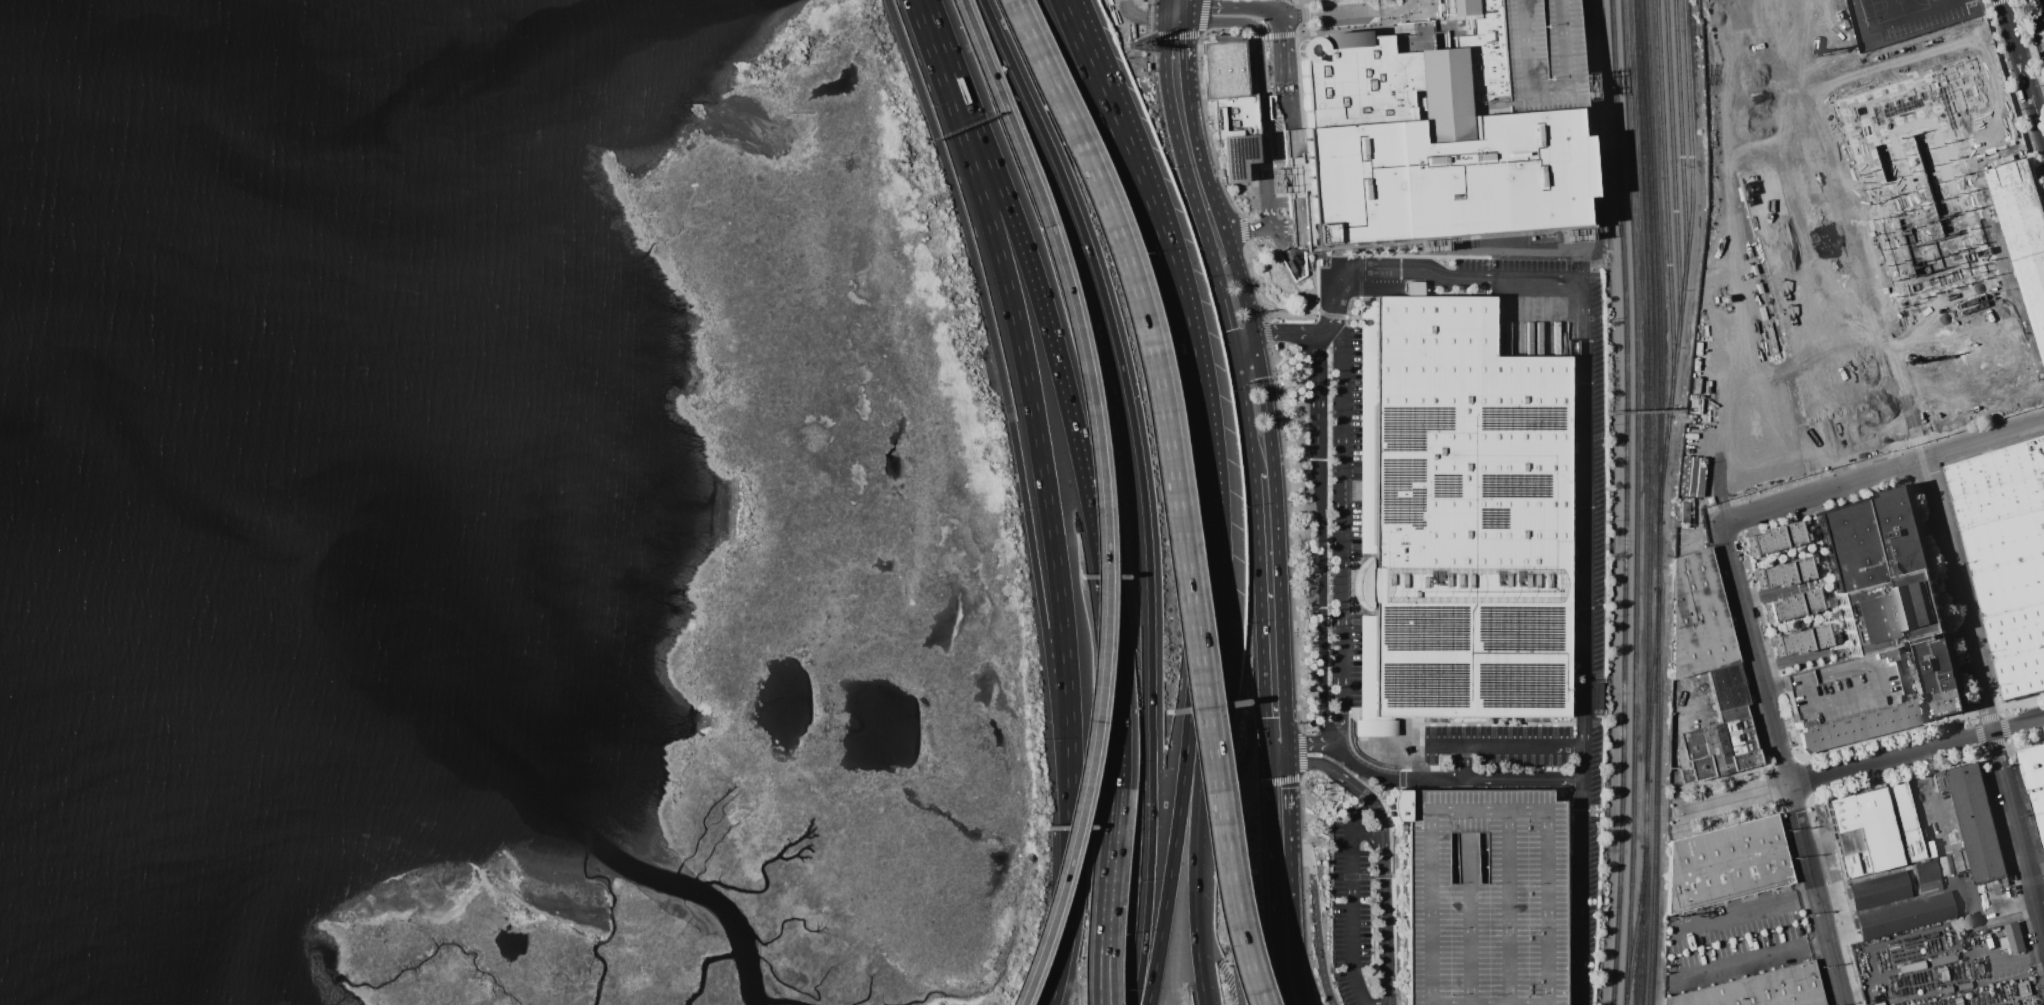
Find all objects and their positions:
building: (1734, 1)
road: (1174, 6)
road: (1228, 6)
road: (2042, 9)
road: (1349, 11)
road: (1143, 13)
traffic signals: (1174, 13)
parking lot: (2035, 13)
road: (1202, 17)
road: (1175, 35)
building: (1793, 36)
road: (1184, 39)
road: (1259, 43)
building: (1537, 54)
parking lot: (1537, 54)
road: (2023, 65)
road: (1287, 72)
building: (1230, 103)
road: (1207, 129)
building: (1427, 141)
railway: (1692, 145)
road: (1279, 165)
road: (1265, 166)
railway: (1675, 172)
road: (1186, 176)
building: (1921, 181)
road: (1247, 184)
road: (1266, 194)
railway: (1668, 201)
road: (1213, 203)
building: (2019, 205)
building: (1785, 224)
road: (1245, 226)
road: (1243, 230)
railway: (1685, 262)
building: (1413, 288)
building: (2034, 288)
road: (1173, 294)
railway: (1659, 294)
road: (1279, 333)
traffic signals: (1252, 335)
road: (1242, 337)
traffic signals: (1233, 339)
building: (1973, 373)
road: (1063, 383)
railway: (1651, 389)
road: (1005, 399)
road: (1317, 400)
road: (1244, 401)
road: (1883, 472)
road: (1287, 486)
road: (1142, 488)
road: (1584, 488)
road: (1170, 492)
road: (1046, 495)
road: (1101, 497)
railway: (1627, 502)
railway: (1638, 502)
building: (1685, 512)
building: (1459, 518)
road: (1340, 534)
road: (1277, 538)
building: (1773, 538)
building: (2008, 557)
building: (1784, 573)
building: (1890, 588)
road: (1260, 604)
building: (1790, 605)
road: (1322, 608)
building: (1698, 616)
building: (1800, 640)
parking lot: (1587, 661)
road: (1774, 684)
railway: (1654, 685)
railway: (1659, 686)
building: (1728, 686)
building: (1839, 687)
road: (1986, 691)
building: (1692, 704)
building: (1859, 725)
road: (1305, 743)
road: (1276, 744)
traffic signals: (1286, 744)
traffic signals: (1267, 745)
road: (1504, 747)
building: (1719, 748)
road: (1286, 753)
road: (1267, 754)
road: (1301, 754)
road: (1244, 755)
road: (1329, 758)
road: (1277, 763)
traffic signals: (1286, 763)
road: (1787, 763)
traffic signals: (1268, 764)
road: (1859, 767)
road: (1467, 768)
road: (1244, 769)
road: (1391, 778)
road: (1524, 779)
road: (1279, 780)
building: (2034, 783)
road: (1251, 784)
road: (1245, 785)
road: (1930, 795)
road: (1179, 805)
road: (1195, 805)
road: (1287, 808)
road: (1270, 813)
road: (1812, 818)
building: (1975, 820)
building: (1876, 829)
road: (1262, 834)
road: (1372, 840)
road: (1381, 853)
road: (2036, 858)
building: (1960, 861)
building: (1727, 863)
building: (1945, 865)
road: (1109, 866)
road: (1290, 875)
building: (1926, 875)
building: (1878, 890)
road: (1305, 891)
railway: (1645, 892)
railway: (1654, 893)
building: (1483, 896)
parking lot: (1483, 896)
parking lot: (1356, 905)
road: (2002, 905)
road: (1234, 907)
road: (1352, 910)
road: (1745, 911)
building: (1905, 915)
road: (1317, 921)
railway: (1638, 925)
road: (1276, 932)
building: (2013, 938)
road: (1293, 947)
road: (1169, 954)
road: (1750, 954)
building: (1942, 959)
road: (2009, 960)
building: (1912, 967)
road: (1099, 975)
road: (1103, 976)
road: (1072, 983)
building: (1760, 989)
building: (2024, 989)
road: (1294, 1001)
road: (1363, 1002)
road: (1377, 1003)
building: (1878, 1003)

